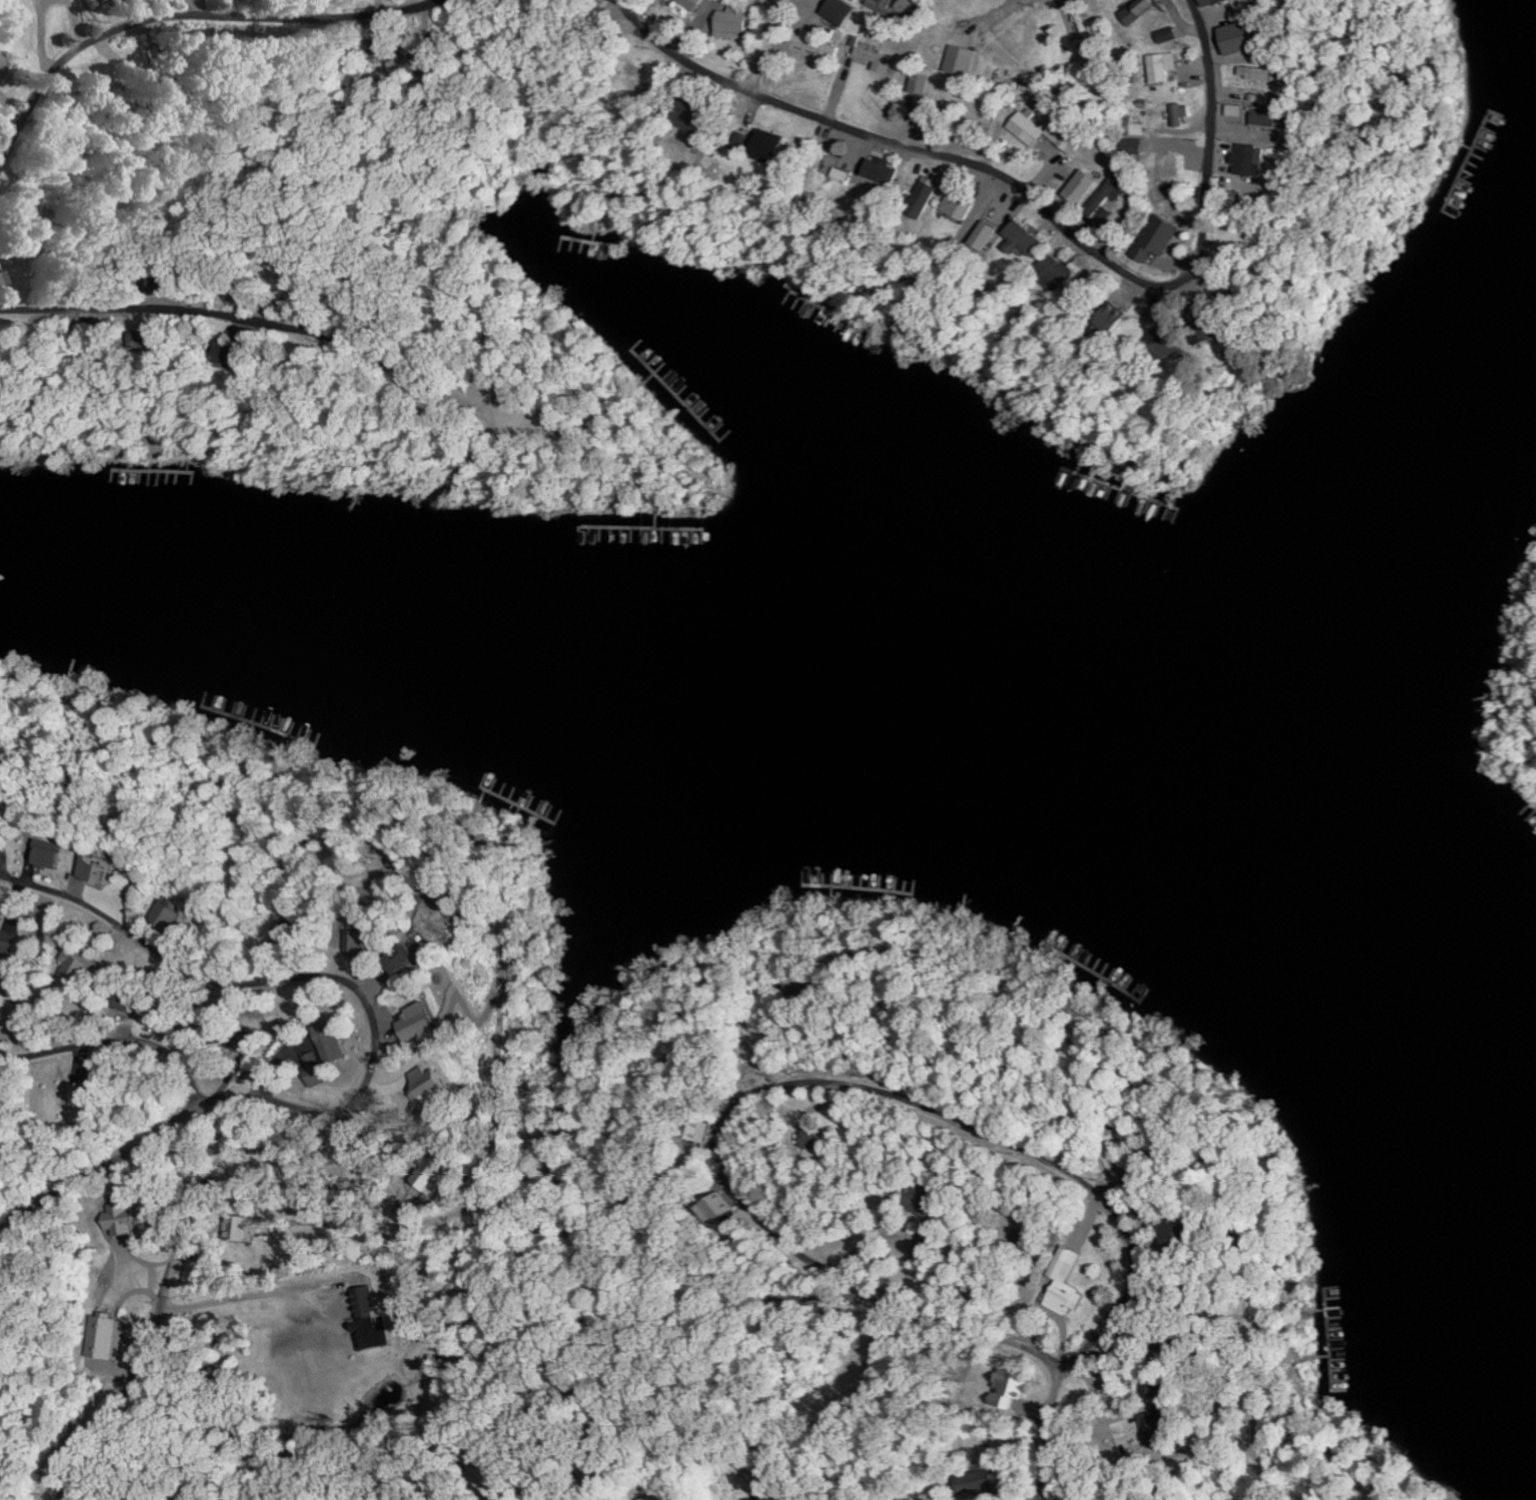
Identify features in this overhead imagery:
building: (139, 1)
building: (1214, 3)
building: (688, 4)
building: (880, 10)
building: (836, 11)
building: (1140, 11)
road: (923, 12)
road: (190, 13)
building: (728, 25)
building: (1169, 36)
building: (1237, 40)
road: (761, 46)
building: (813, 46)
building: (1, 58)
building: (874, 60)
building: (400, 62)
building: (957, 62)
building: (1162, 67)
building: (1257, 73)
building: (917, 81)
building: (1234, 111)
building: (1179, 114)
building: (685, 118)
building: (1264, 118)
building: (1134, 128)
building: (1024, 129)
building: (1063, 136)
building: (739, 143)
building: (764, 147)
building: (1132, 148)
building: (1247, 161)
building: (830, 162)
building: (1162, 168)
building: (877, 171)
building: (1078, 187)
building: (919, 198)
building: (1105, 200)
road: (1033, 203)
building: (953, 208)
building: (26, 209)
building: (980, 236)
building: (1020, 239)
building: (1052, 272)
building: (5, 279)
building: (159, 287)
road: (249, 314)
building: (1106, 319)
building: (1200, 333)
building: (132, 341)
building: (1164, 346)
building: (223, 355)
road: (608, 402)
road: (551, 423)
road: (514, 427)
parking lot: (563, 447)
building: (47, 854)
building: (97, 871)
building: (168, 917)
building: (424, 938)
building: (356, 941)
building: (7, 943)
building: (402, 959)
building: (75, 964)
building: (124, 1001)
building: (415, 1022)
building: (323, 1051)
building: (429, 1088)
building: (79, 1093)
road: (931, 1098)
building: (705, 1131)
building: (811, 1140)
building: (428, 1177)
building: (920, 1203)
building: (718, 1208)
building: (118, 1219)
building: (243, 1229)
building: (227, 1230)
building: (1174, 1238)
building: (1064, 1283)
building: (371, 1321)
building: (104, 1338)
building: (1007, 1388)
building: (1159, 1427)
road: (1060, 1443)
building: (979, 1482)
building: (670, 1496)

